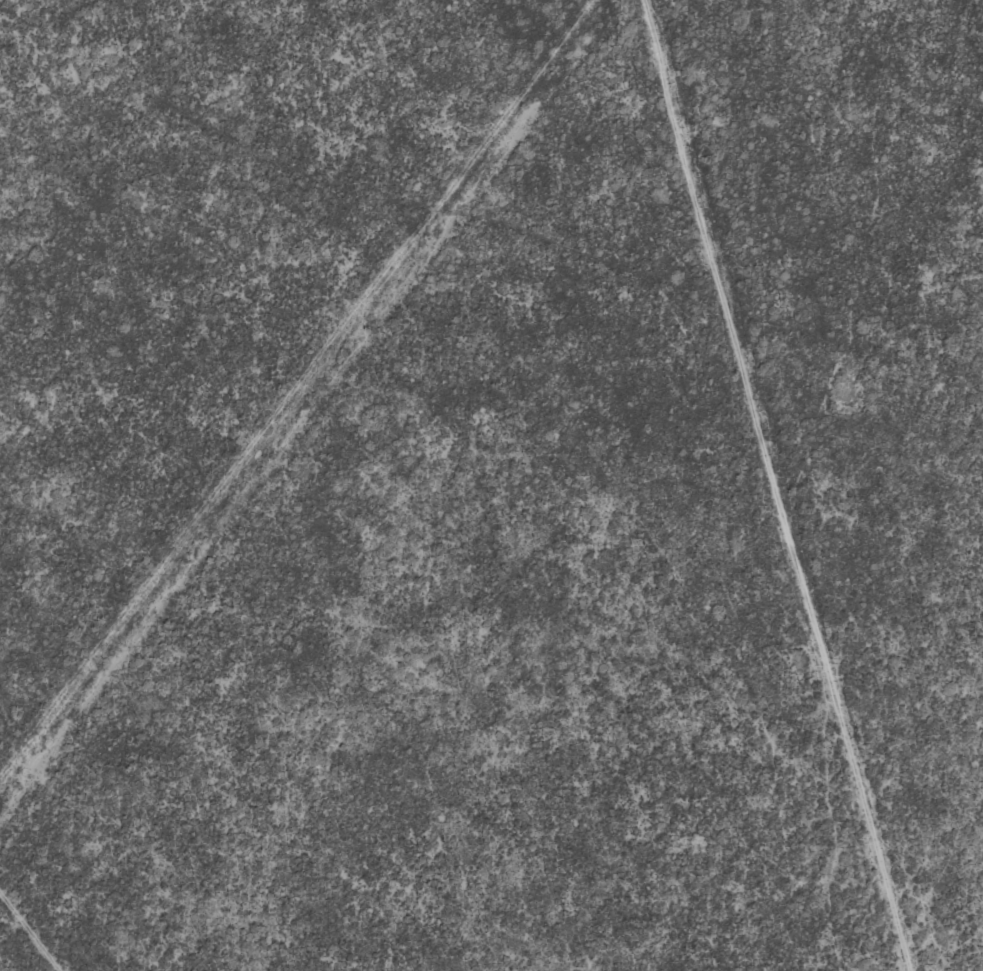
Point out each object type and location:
road: (807, 485)

